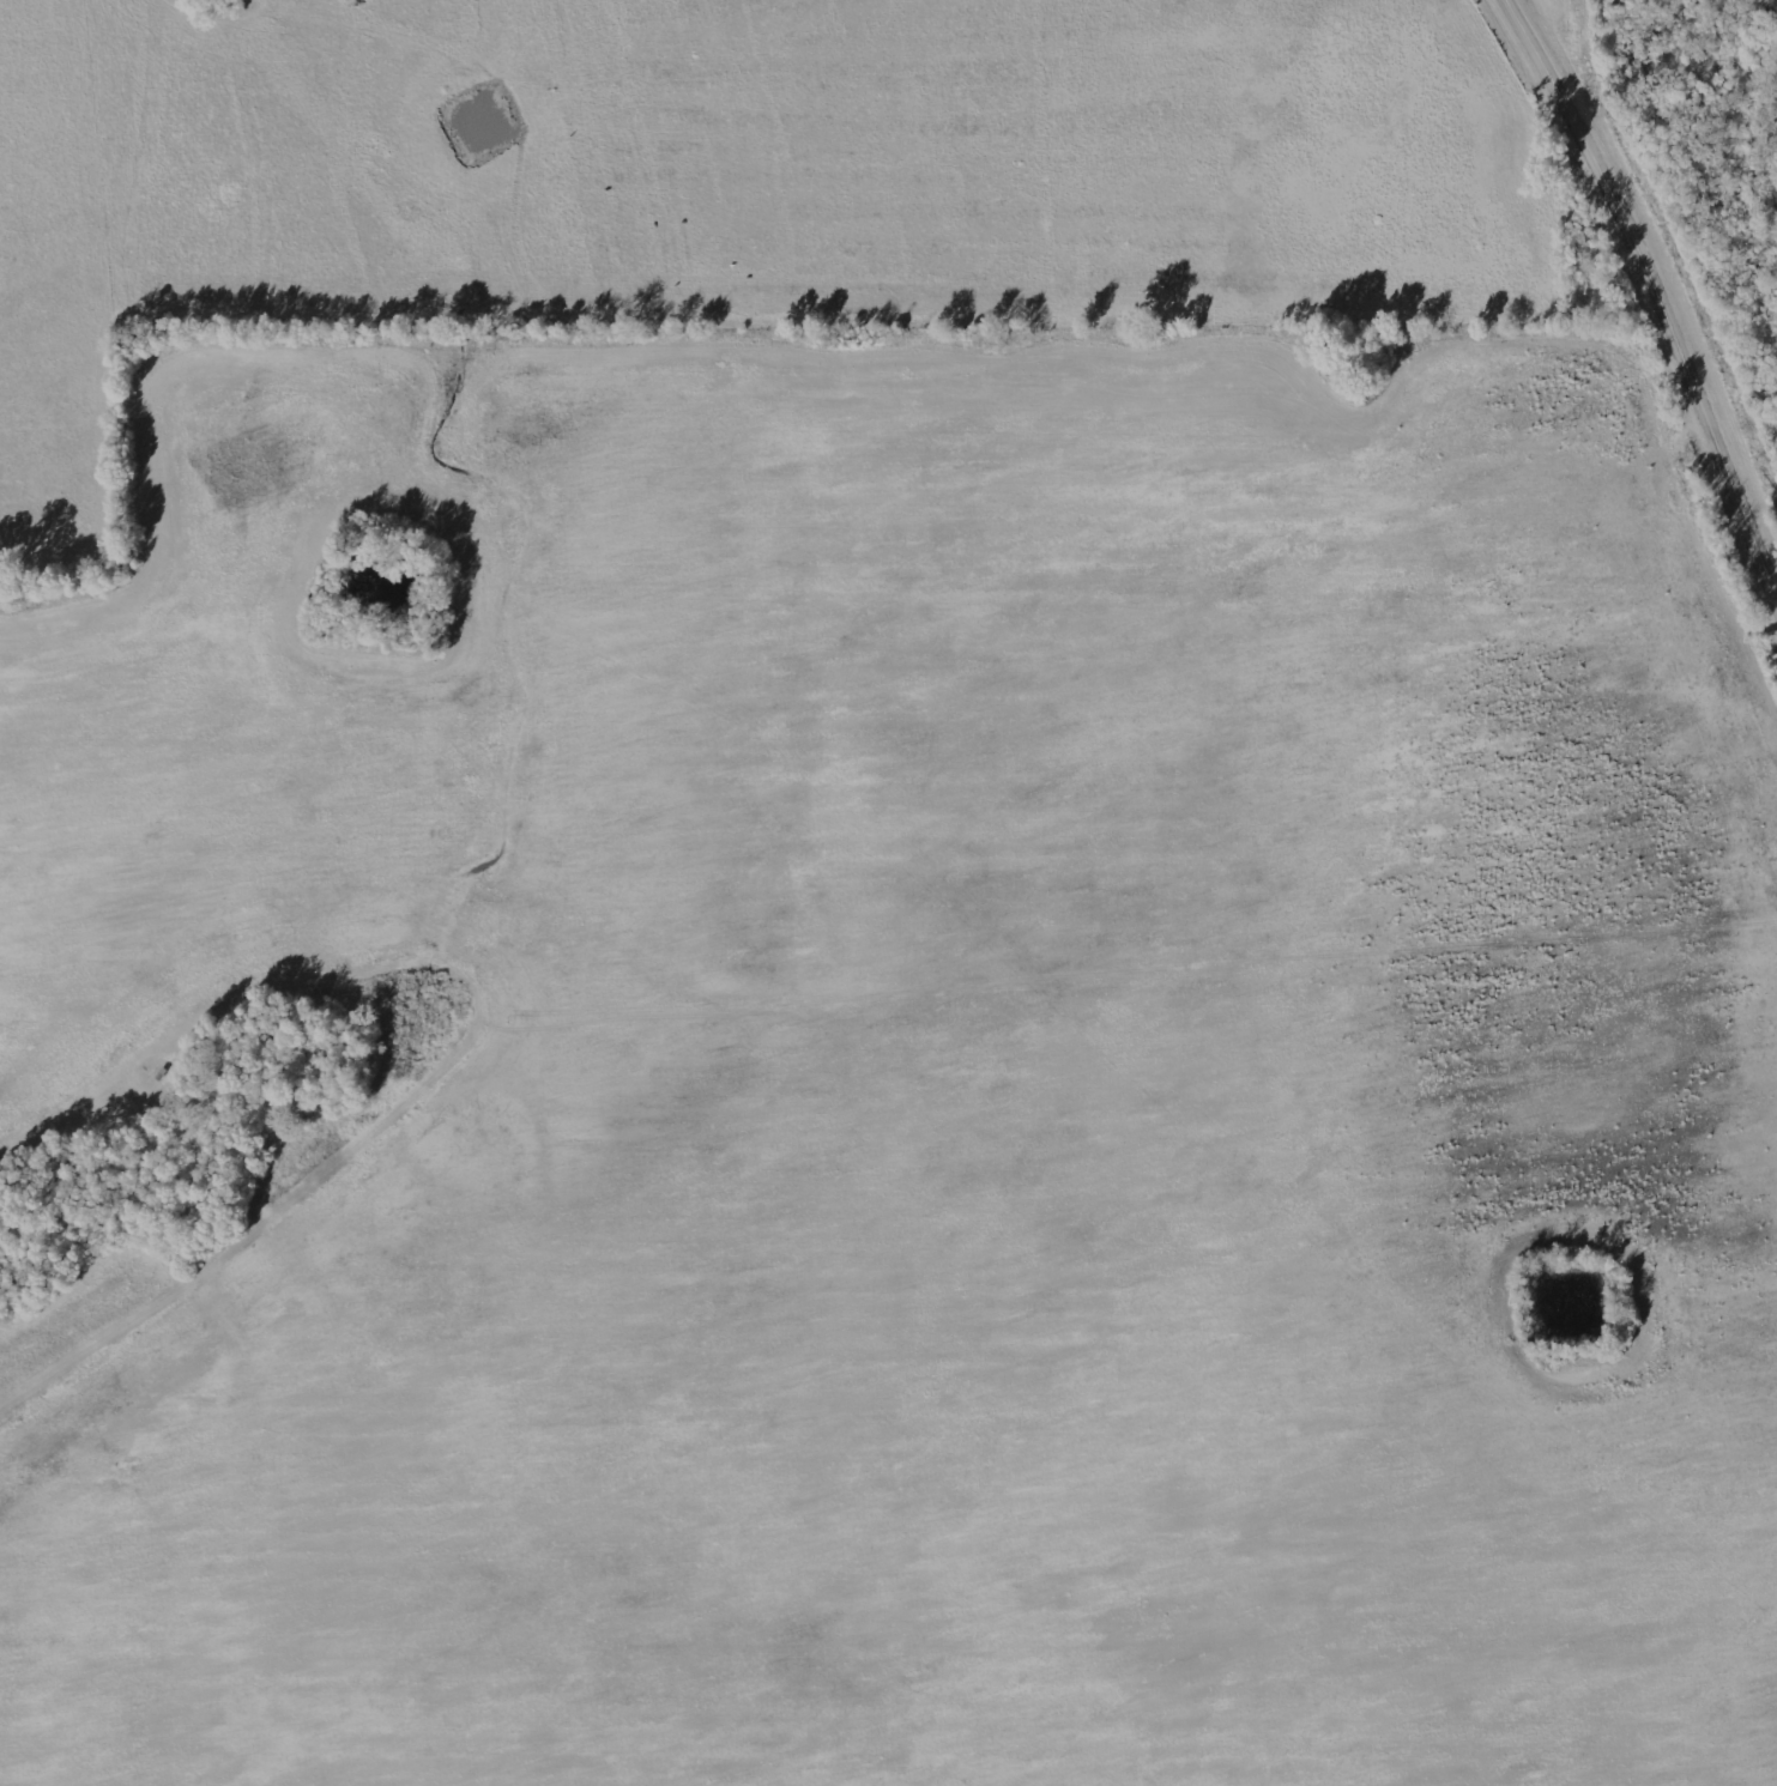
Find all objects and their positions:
road: (1628, 56)
road: (1656, 278)
road: (1114, 295)

